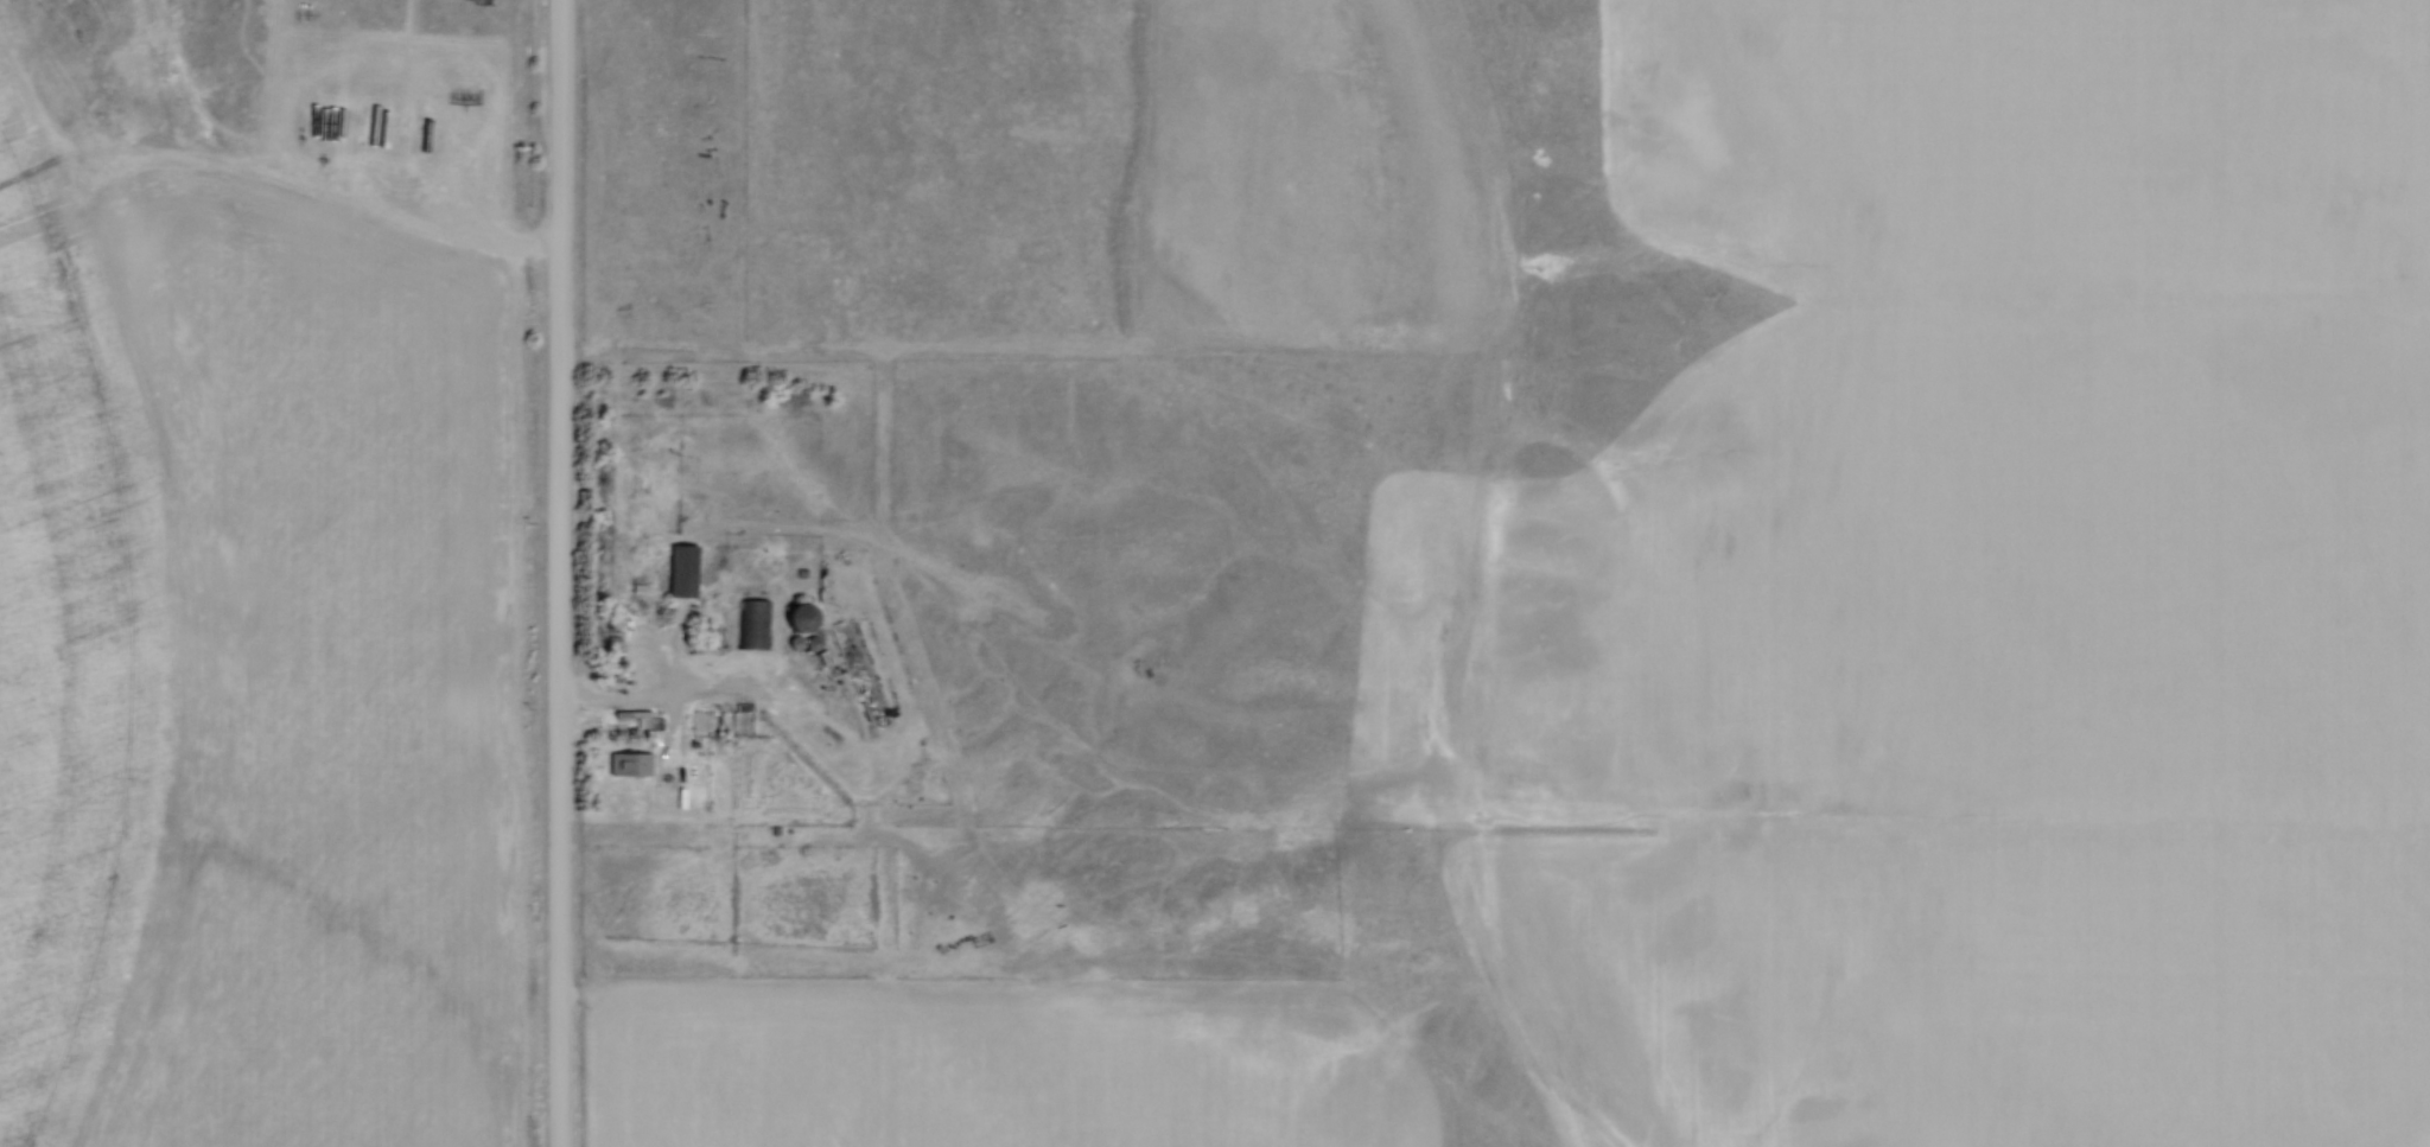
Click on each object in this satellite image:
building: (682, 569)
road: (562, 573)
crop: (2034, 576)
building: (797, 618)
silo: (797, 618)
building: (753, 626)
building: (795, 643)
silo: (795, 643)
building: (814, 644)
silo: (814, 644)
crop: (262, 663)
road: (670, 694)
road: (796, 734)
building: (630, 764)

